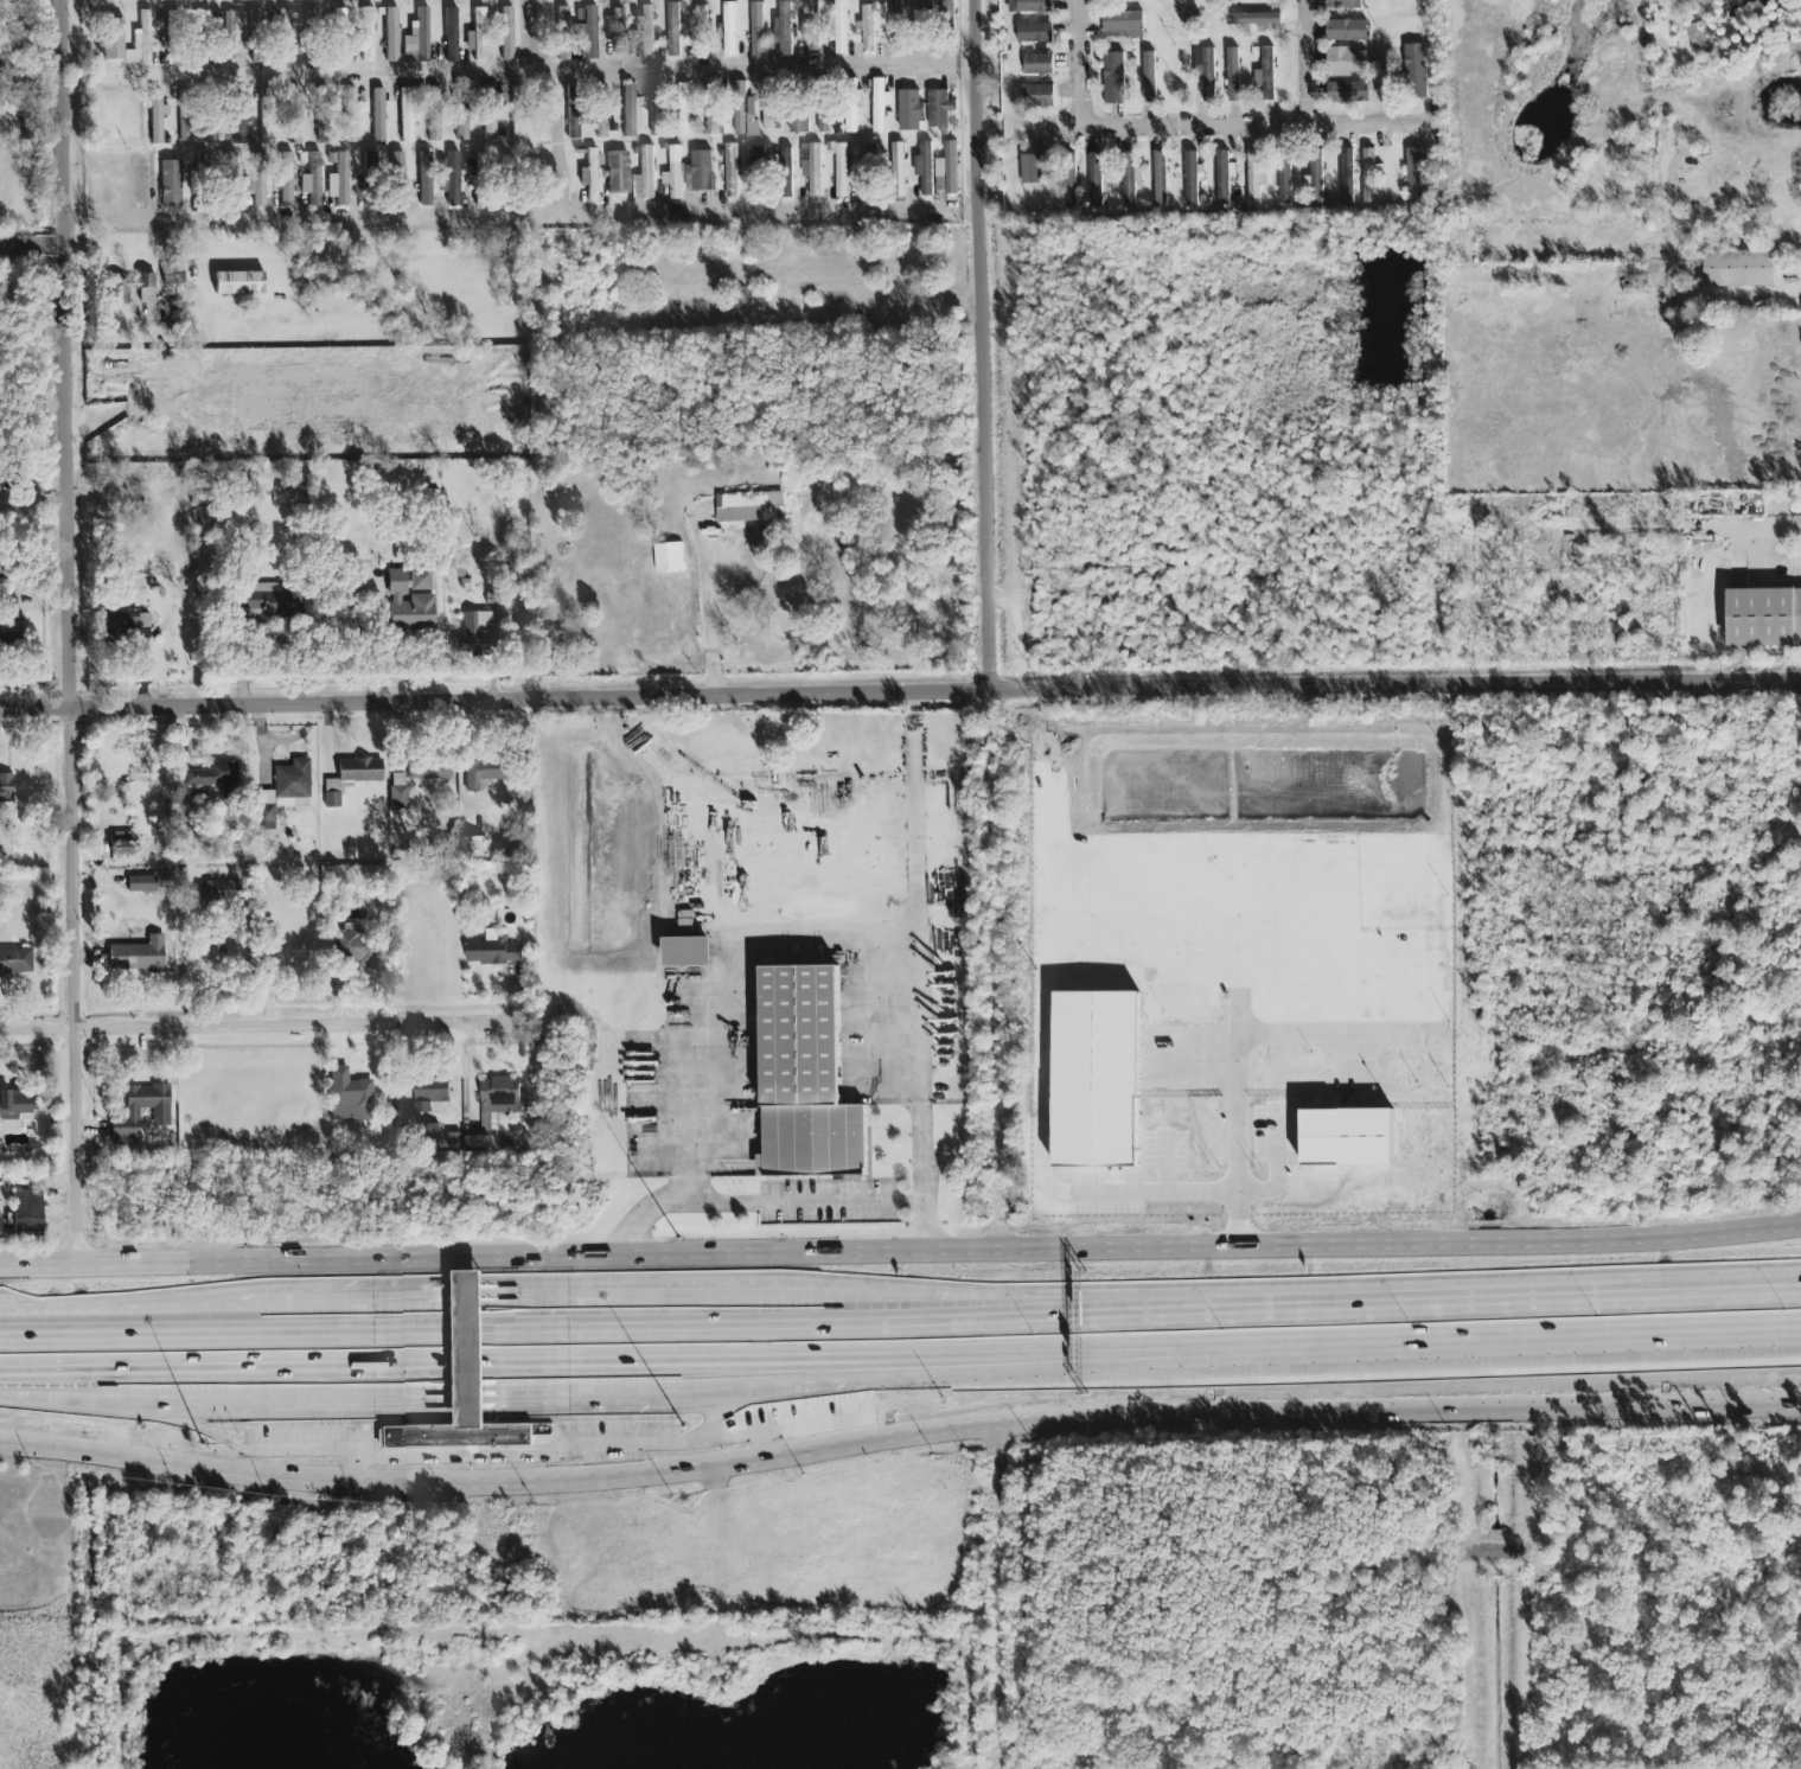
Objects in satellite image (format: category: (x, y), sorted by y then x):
building: (1259, 0)
building: (1693, 1)
building: (1345, 5)
building: (1756, 5)
building: (1035, 6)
building: (949, 13)
building: (1253, 20)
building: (1123, 21)
building: (895, 27)
building: (924, 27)
building: (756, 28)
building: (786, 28)
building: (811, 28)
building: (841, 28)
building: (868, 28)
building: (730, 30)
building: (620, 31)
building: (646, 31)
building: (673, 31)
building: (1347, 31)
building: (702, 32)
building: (831, 32)
building: (507, 33)
building: (563, 33)
building: (590, 33)
building: (1035, 33)
building: (257, 34)
building: (285, 34)
building: (312, 34)
building: (340, 34)
building: (369, 34)
building: (392, 34)
building: (423, 34)
building: (452, 34)
building: (480, 34)
building: (1698, 34)
road: (530, 36)
building: (113, 37)
building: (231, 37)
building: (174, 38)
building: (141, 41)
building: (1784, 46)
road: (1309, 63)
building: (1347, 63)
building: (1037, 64)
road: (1082, 65)
road: (534, 71)
building: (1416, 72)
building: (1269, 75)
building: (1208, 76)
building: (1233, 76)
building: (1115, 78)
building: (1149, 78)
building: (573, 91)
building: (1347, 94)
building: (1039, 97)
building: (880, 106)
building: (851, 107)
building: (768, 108)
building: (630, 109)
building: (741, 109)
building: (939, 109)
building: (601, 110)
building: (656, 110)
building: (684, 110)
building: (713, 110)
building: (823, 110)
building: (909, 110)
building: (1, 111)
building: (464, 113)
building: (490, 113)
building: (519, 113)
building: (434, 114)
building: (186, 115)
building: (324, 115)
building: (351, 115)
building: (379, 115)
building: (407, 115)
building: (157, 116)
building: (240, 116)
building: (268, 116)
building: (295, 116)
road: (64, 122)
building: (573, 122)
road: (1182, 128)
building: (108, 133)
building: (210, 135)
road: (556, 143)
building: (203, 161)
building: (370, 162)
building: (397, 166)
building: (927, 168)
building: (952, 168)
building: (760, 170)
building: (815, 170)
building: (701, 171)
building: (842, 171)
building: (900, 171)
building: (1032, 171)
building: (618, 172)
building: (732, 172)
building: (871, 172)
building: (649, 173)
building: (676, 173)
building: (786, 173)
building: (538, 174)
building: (593, 174)
building: (1417, 174)
building: (340, 177)
building: (1317, 177)
building: (1348, 177)
building: (1369, 177)
building: (481, 178)
building: (1254, 178)
building: (1285, 178)
building: (287, 179)
building: (426, 179)
building: (454, 179)
building: (1129, 179)
building: (1161, 179)
building: (1192, 179)
building: (1222, 179)
building: (230, 180)
building: (257, 180)
building: (312, 180)
building: (1071, 181)
building: (1096, 181)
building: (171, 184)
building: (360, 187)
road: (543, 217)
road: (32, 249)
building: (1738, 269)
building: (173, 275)
building: (240, 282)
building: (136, 288)
road: (982, 345)
building: (747, 509)
road: (1758, 526)
building: (8, 562)
building: (420, 580)
building: (255, 602)
building: (405, 603)
building: (8, 609)
building: (1763, 618)
building: (127, 620)
building: (478, 624)
road: (900, 691)
road: (70, 754)
building: (433, 774)
building: (488, 774)
building: (211, 777)
building: (351, 777)
building: (6, 787)
building: (194, 791)
building: (285, 791)
building: (398, 791)
building: (121, 845)
building: (472, 848)
building: (141, 883)
building: (222, 890)
road: (767, 914)
building: (355, 947)
building: (685, 952)
building: (493, 953)
building: (138, 954)
building: (15, 962)
road: (261, 1026)
building: (804, 1078)
building: (432, 1091)
building: (499, 1091)
building: (350, 1097)
building: (15, 1101)
building: (160, 1112)
building: (430, 1135)
building: (478, 1145)
road: (924, 1179)
road: (791, 1203)
building: (27, 1213)
road: (649, 1214)
road: (901, 1254)
road: (516, 1295)
road: (1387, 1310)
road: (487, 1336)
toll booth: (472, 1337)
toll booth: (471, 1350)
road: (900, 1358)
toll booth: (472, 1366)
building: (461, 1388)
road: (662, 1394)
road: (898, 1442)
road: (1483, 1594)

